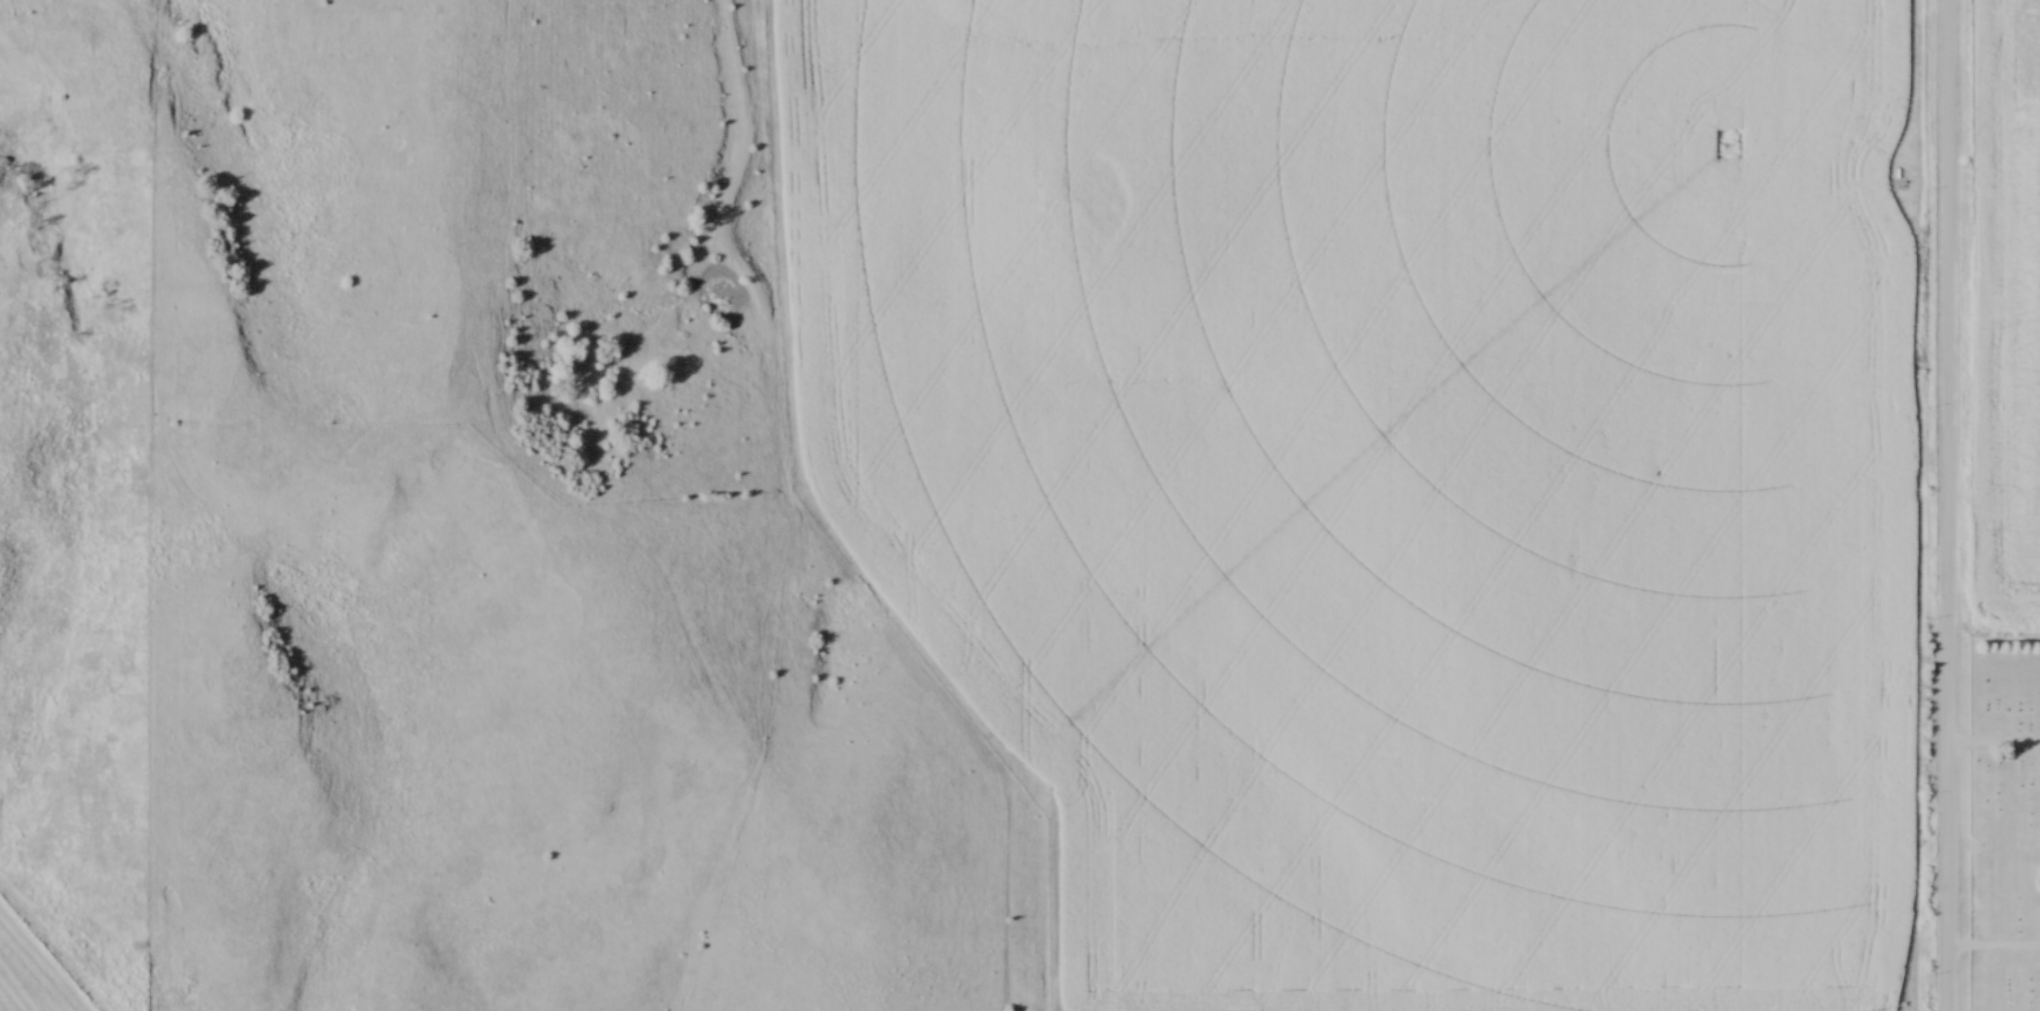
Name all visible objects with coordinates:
road: (1948, 505)
road: (1995, 746)
park: (2005, 821)
road: (1995, 950)

